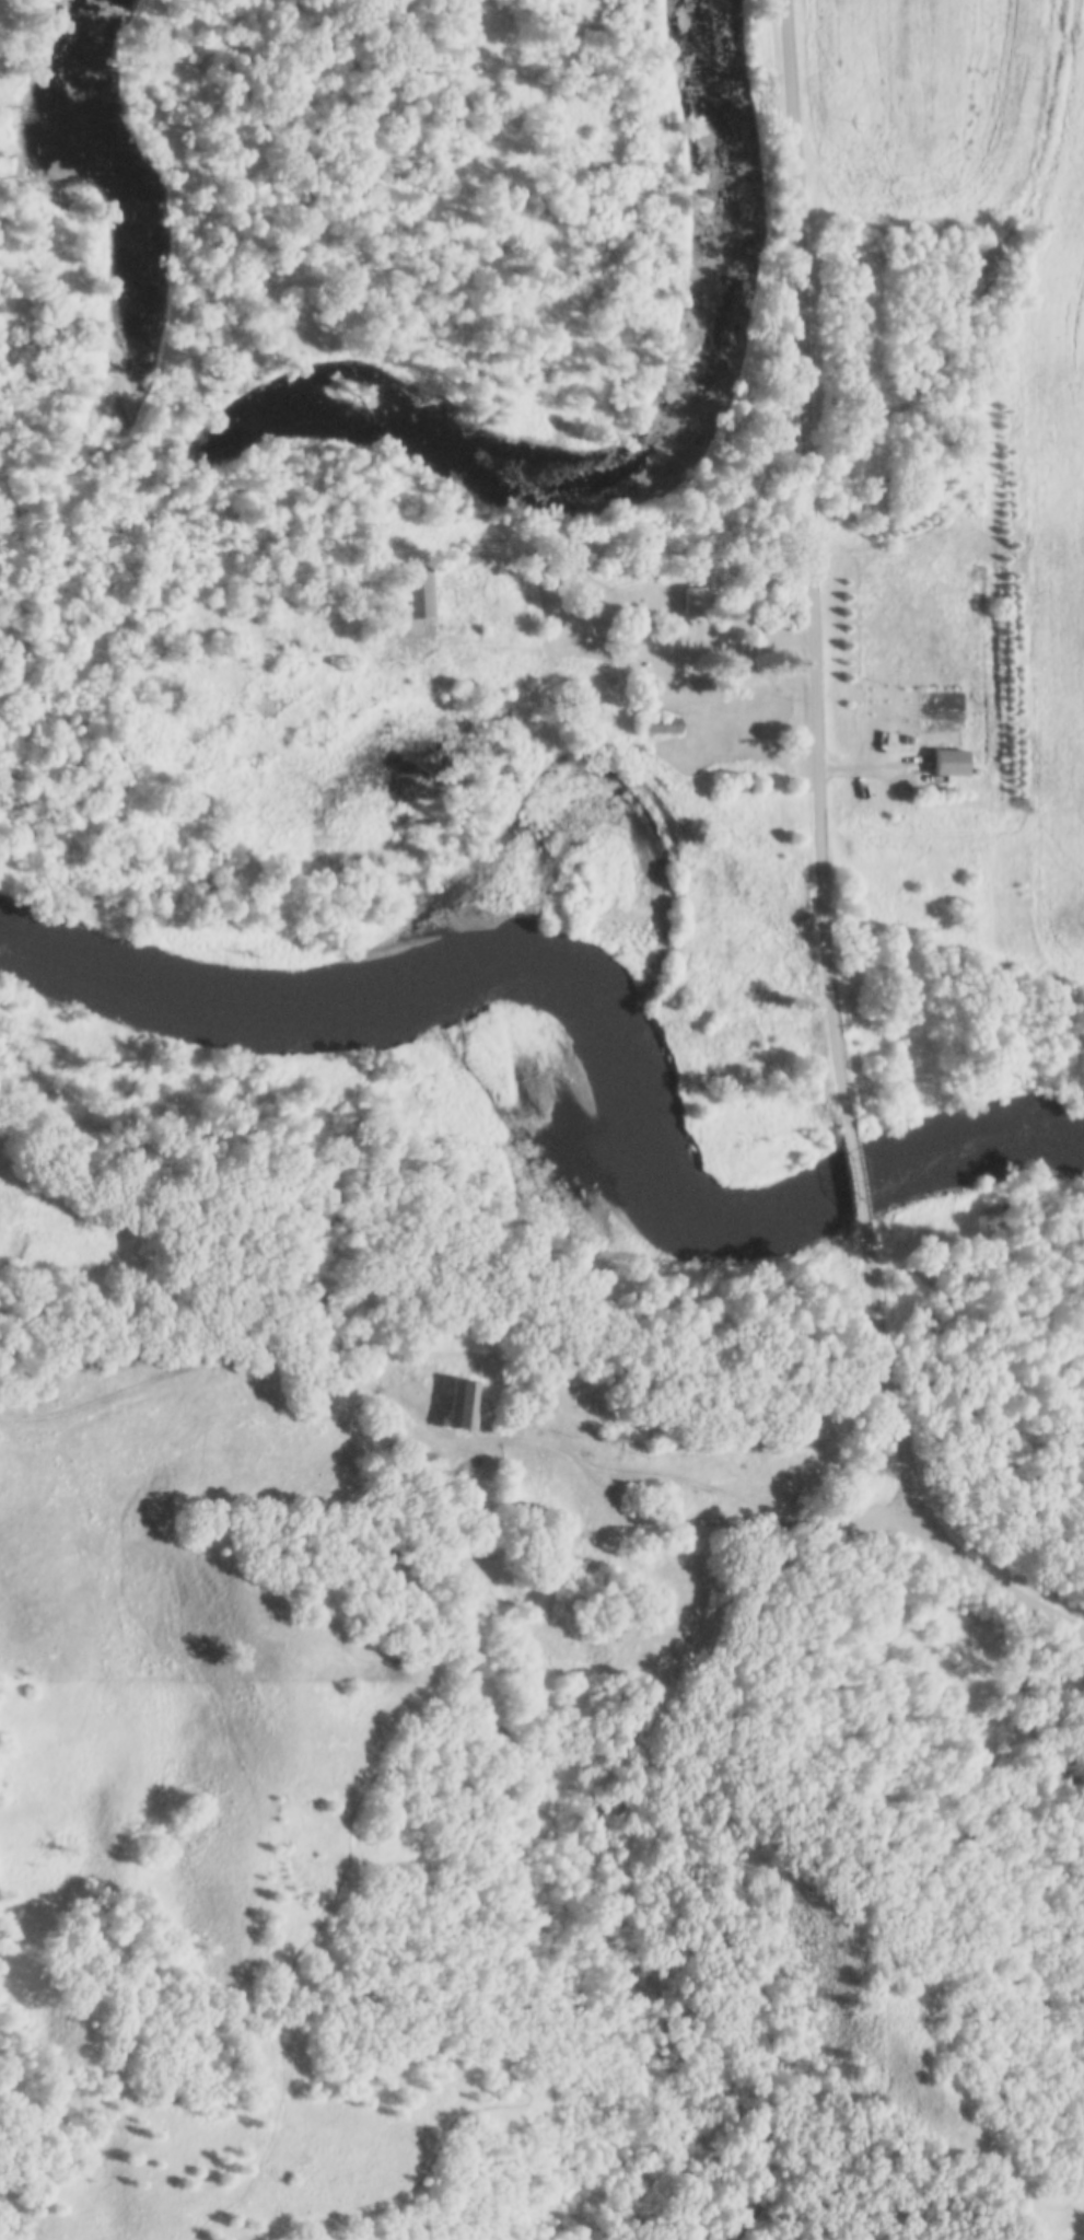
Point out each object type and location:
road: (808, 560)
building: (420, 590)
building: (668, 601)
building: (654, 668)
building: (662, 722)
building: (948, 762)
building: (742, 785)
river: (608, 924)
road: (858, 1174)
building: (465, 1402)
building: (606, 1435)
building: (703, 1446)
road: (907, 1472)
road: (702, 1529)

